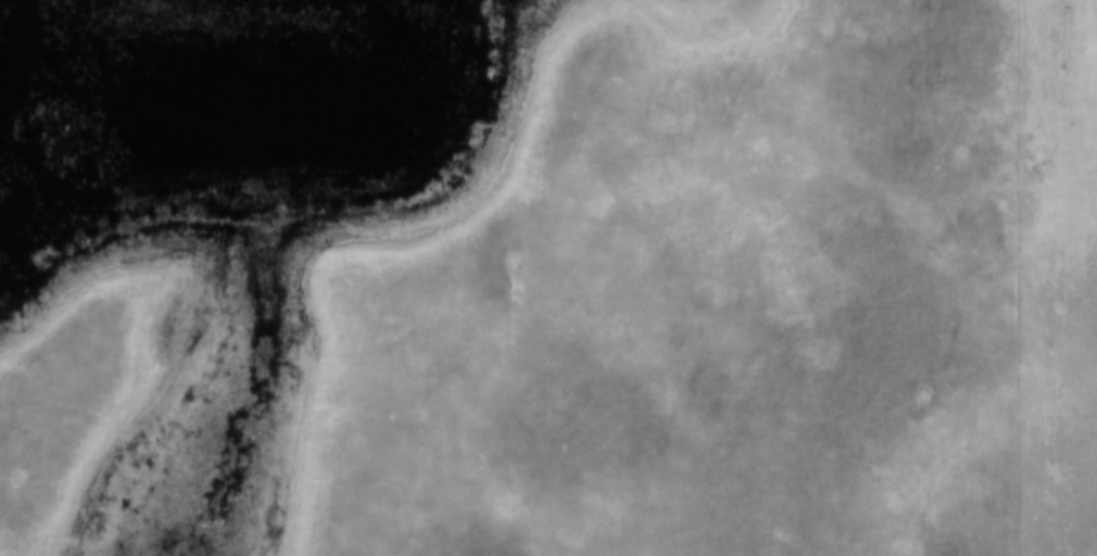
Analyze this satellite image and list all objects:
road: (1000, 278)

